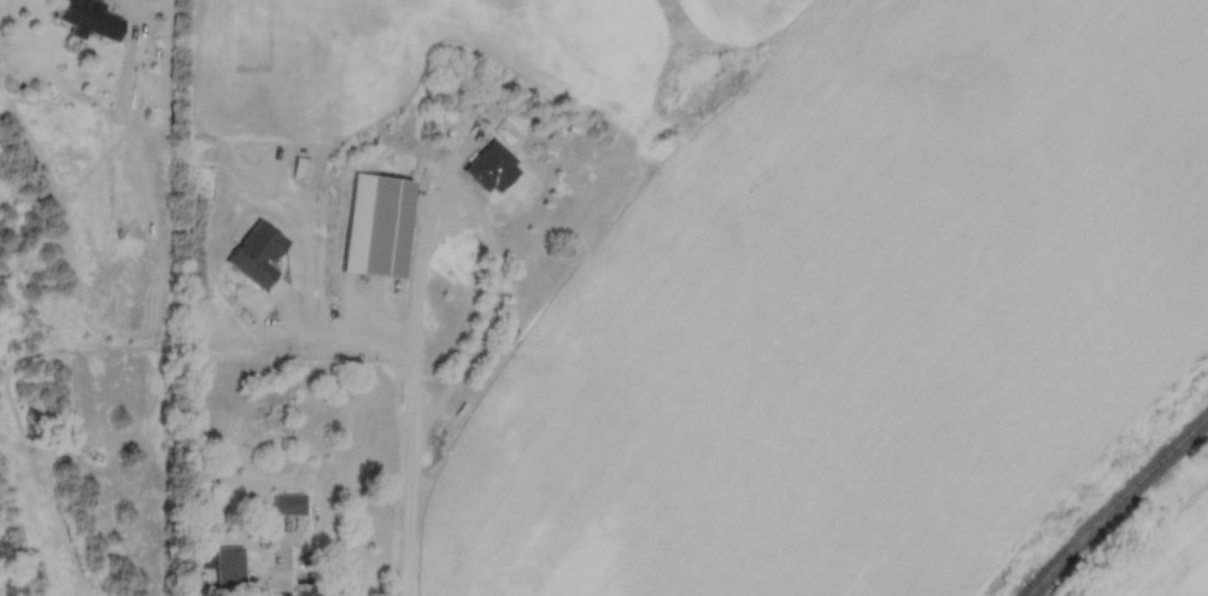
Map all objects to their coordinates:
building: (90, 18)
building: (489, 166)
building: (386, 228)
road: (427, 233)
road: (339, 317)
building: (288, 504)
railway: (1116, 507)
road: (407, 524)
road: (280, 565)
building: (228, 568)

